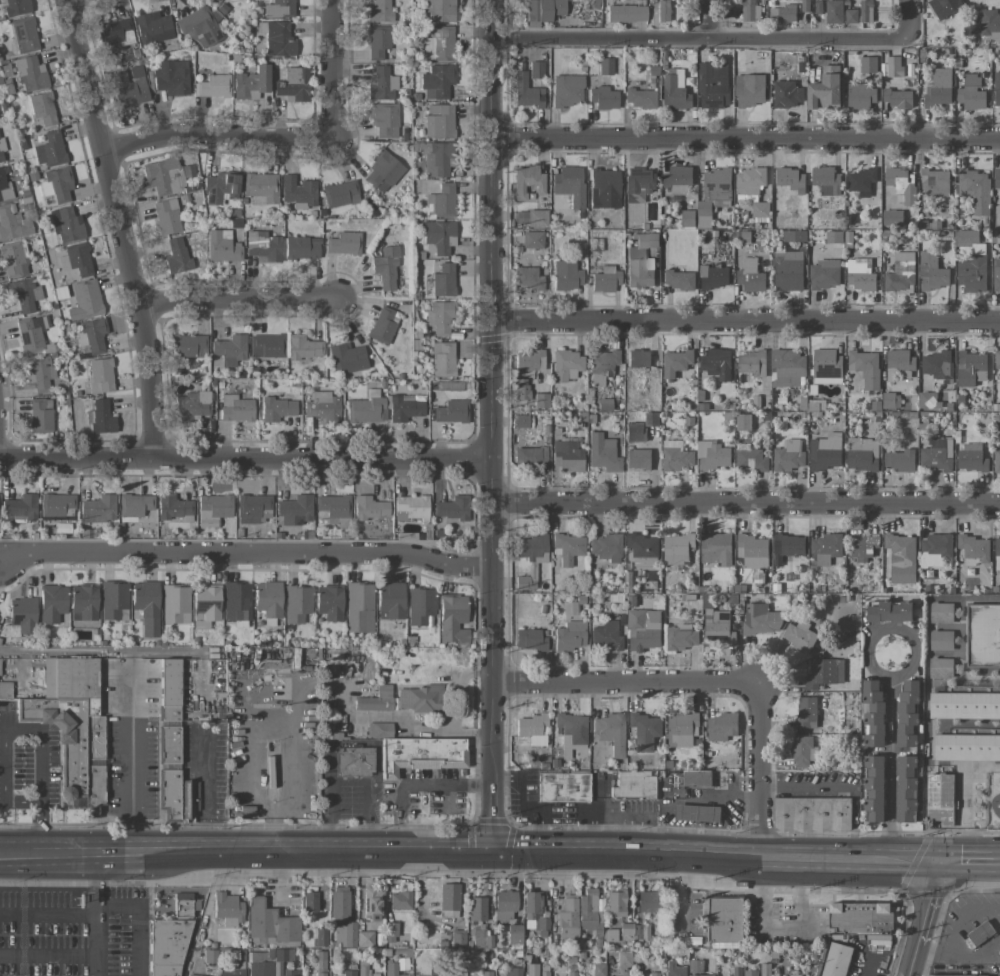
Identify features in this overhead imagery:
building: (15, 7)
building: (944, 7)
building: (279, 8)
building: (439, 10)
building: (749, 10)
building: (379, 11)
building: (542, 11)
building: (663, 11)
building: (865, 11)
building: (626, 13)
building: (839, 13)
building: (782, 14)
road: (706, 18)
road: (908, 19)
building: (989, 24)
building: (153, 27)
building: (199, 27)
building: (24, 34)
building: (115, 34)
road: (700, 37)
building: (278, 39)
building: (378, 41)
building: (438, 43)
building: (868, 64)
building: (605, 66)
building: (893, 66)
road: (332, 68)
building: (536, 69)
building: (30, 73)
building: (172, 77)
building: (437, 81)
building: (251, 83)
building: (214, 84)
building: (381, 84)
building: (294, 85)
building: (713, 85)
building: (128, 88)
building: (938, 88)
building: (825, 89)
building: (567, 90)
building: (750, 90)
building: (997, 90)
building: (526, 91)
building: (674, 93)
building: (971, 93)
building: (786, 94)
building: (860, 96)
building: (603, 97)
building: (639, 97)
building: (897, 98)
building: (42, 108)
building: (384, 119)
building: (439, 120)
road: (216, 135)
road: (745, 137)
building: (1, 148)
building: (50, 149)
building: (438, 158)
building: (383, 171)
building: (166, 175)
building: (996, 177)
building: (677, 178)
building: (787, 178)
building: (527, 180)
building: (826, 180)
building: (860, 181)
building: (934, 181)
building: (4, 183)
building: (603, 183)
building: (639, 183)
building: (570, 184)
building: (902, 184)
building: (56, 185)
building: (261, 186)
building: (220, 187)
building: (752, 189)
building: (975, 190)
building: (297, 192)
building: (340, 193)
building: (713, 195)
building: (441, 201)
building: (167, 216)
building: (537, 218)
building: (687, 218)
building: (892, 218)
building: (13, 223)
building: (66, 224)
road: (122, 228)
building: (439, 235)
building: (797, 236)
building: (963, 236)
building: (833, 237)
building: (532, 239)
building: (646, 240)
building: (344, 243)
building: (264, 245)
building: (222, 246)
building: (300, 248)
building: (177, 256)
building: (12, 259)
building: (76, 259)
building: (385, 268)
building: (972, 270)
building: (788, 271)
building: (640, 272)
building: (900, 272)
building: (931, 272)
building: (824, 274)
building: (859, 274)
building: (996, 274)
building: (566, 275)
building: (750, 276)
building: (714, 277)
building: (527, 278)
building: (605, 279)
building: (443, 280)
building: (679, 280)
building: (24, 293)
building: (85, 300)
road: (242, 301)
building: (440, 316)
road: (746, 320)
building: (383, 324)
building: (31, 333)
building: (92, 334)
building: (189, 345)
building: (267, 345)
building: (304, 347)
building: (230, 349)
building: (347, 358)
building: (443, 359)
building: (642, 360)
building: (899, 360)
building: (997, 360)
building: (530, 362)
building: (603, 362)
building: (676, 363)
building: (717, 363)
building: (567, 364)
building: (935, 365)
building: (750, 366)
building: (826, 367)
building: (787, 368)
building: (865, 368)
building: (971, 368)
building: (38, 371)
building: (100, 375)
building: (890, 400)
building: (926, 400)
building: (758, 403)
building: (192, 405)
building: (322, 406)
building: (236, 408)
building: (277, 408)
building: (367, 408)
building: (405, 409)
building: (452, 411)
building: (40, 415)
building: (100, 417)
building: (521, 420)
road: (492, 423)
building: (742, 423)
building: (603, 452)
building: (825, 452)
building: (862, 454)
building: (936, 454)
building: (568, 456)
building: (676, 456)
building: (712, 456)
building: (788, 456)
building: (530, 457)
road: (245, 458)
building: (971, 458)
building: (640, 460)
building: (750, 460)
building: (899, 460)
building: (996, 460)
road: (746, 502)
building: (57, 504)
building: (135, 504)
building: (21, 507)
building: (174, 507)
building: (335, 507)
building: (370, 507)
building: (411, 507)
building: (452, 507)
building: (213, 508)
building: (254, 508)
building: (98, 509)
building: (294, 510)
building: (997, 546)
building: (568, 547)
building: (606, 547)
building: (787, 547)
building: (974, 547)
building: (532, 548)
building: (677, 548)
building: (826, 548)
building: (861, 548)
building: (901, 548)
building: (643, 550)
building: (715, 550)
building: (934, 550)
building: (752, 551)
road: (245, 552)
building: (525, 582)
building: (268, 598)
building: (114, 600)
building: (390, 600)
building: (83, 601)
building: (237, 601)
building: (52, 602)
building: (329, 602)
building: (297, 603)
building: (175, 604)
building: (205, 605)
building: (146, 606)
building: (359, 607)
building: (421, 607)
building: (890, 611)
building: (941, 613)
building: (23, 614)
building: (452, 618)
building: (761, 619)
building: (717, 628)
building: (643, 630)
building: (569, 636)
building: (606, 636)
building: (799, 636)
building: (983, 636)
building: (681, 637)
building: (529, 639)
building: (940, 640)
building: (940, 668)
building: (823, 672)
road: (625, 681)
building: (5, 689)
building: (420, 698)
building: (376, 699)
building: (173, 704)
building: (964, 705)
building: (805, 711)
building: (872, 712)
building: (907, 712)
building: (72, 727)
building: (721, 727)
building: (532, 728)
building: (571, 729)
building: (682, 729)
road: (4, 730)
road: (450, 730)
building: (358, 731)
building: (645, 731)
building: (610, 732)
building: (966, 747)
building: (802, 751)
building: (424, 754)
road: (890, 757)
building: (356, 760)
road: (130, 765)
road: (759, 769)
building: (636, 773)
building: (696, 778)
road: (417, 783)
building: (563, 786)
building: (638, 787)
road: (804, 787)
building: (874, 789)
building: (906, 789)
building: (171, 792)
road: (206, 796)
building: (188, 799)
building: (940, 799)
building: (697, 813)
building: (814, 815)
road: (41, 828)
road: (450, 847)
traffic signals: (493, 847)
road: (203, 849)
road: (691, 852)
road: (912, 864)
traffic signals: (936, 865)
road: (964, 865)
road: (996, 865)
road: (99, 883)
building: (449, 896)
building: (400, 900)
building: (310, 901)
building: (648, 901)
building: (615, 903)
building: (179, 904)
building: (371, 904)
building: (505, 904)
building: (228, 908)
building: (477, 908)
building: (535, 913)
building: (589, 913)
road: (80, 915)
building: (568, 917)
building: (862, 919)
building: (726, 920)
road: (920, 920)
road: (135, 922)
building: (270, 922)
building: (641, 931)
building: (980, 933)
building: (345, 934)
building: (514, 934)
building: (610, 935)
building: (320, 936)
building: (458, 937)
building: (365, 938)
building: (479, 938)
building: (170, 945)
building: (724, 945)
building: (281, 953)
road: (961, 953)
road: (49, 955)
building: (210, 955)
building: (624, 958)
building: (238, 960)
building: (836, 960)
building: (261, 968)
building: (392, 969)
building: (531, 969)
building: (598, 969)
building: (674, 969)
building: (366, 970)
building: (232, 972)
building: (291, 972)
building: (510, 972)
building: (736, 972)
building: (348, 973)
building: (453, 973)
building: (571, 973)
building: (653, 973)
building: (750, 973)
building: (197, 975)
building: (423, 975)
building: (705, 975)
building: (792, 975)
building: (941, 975)

